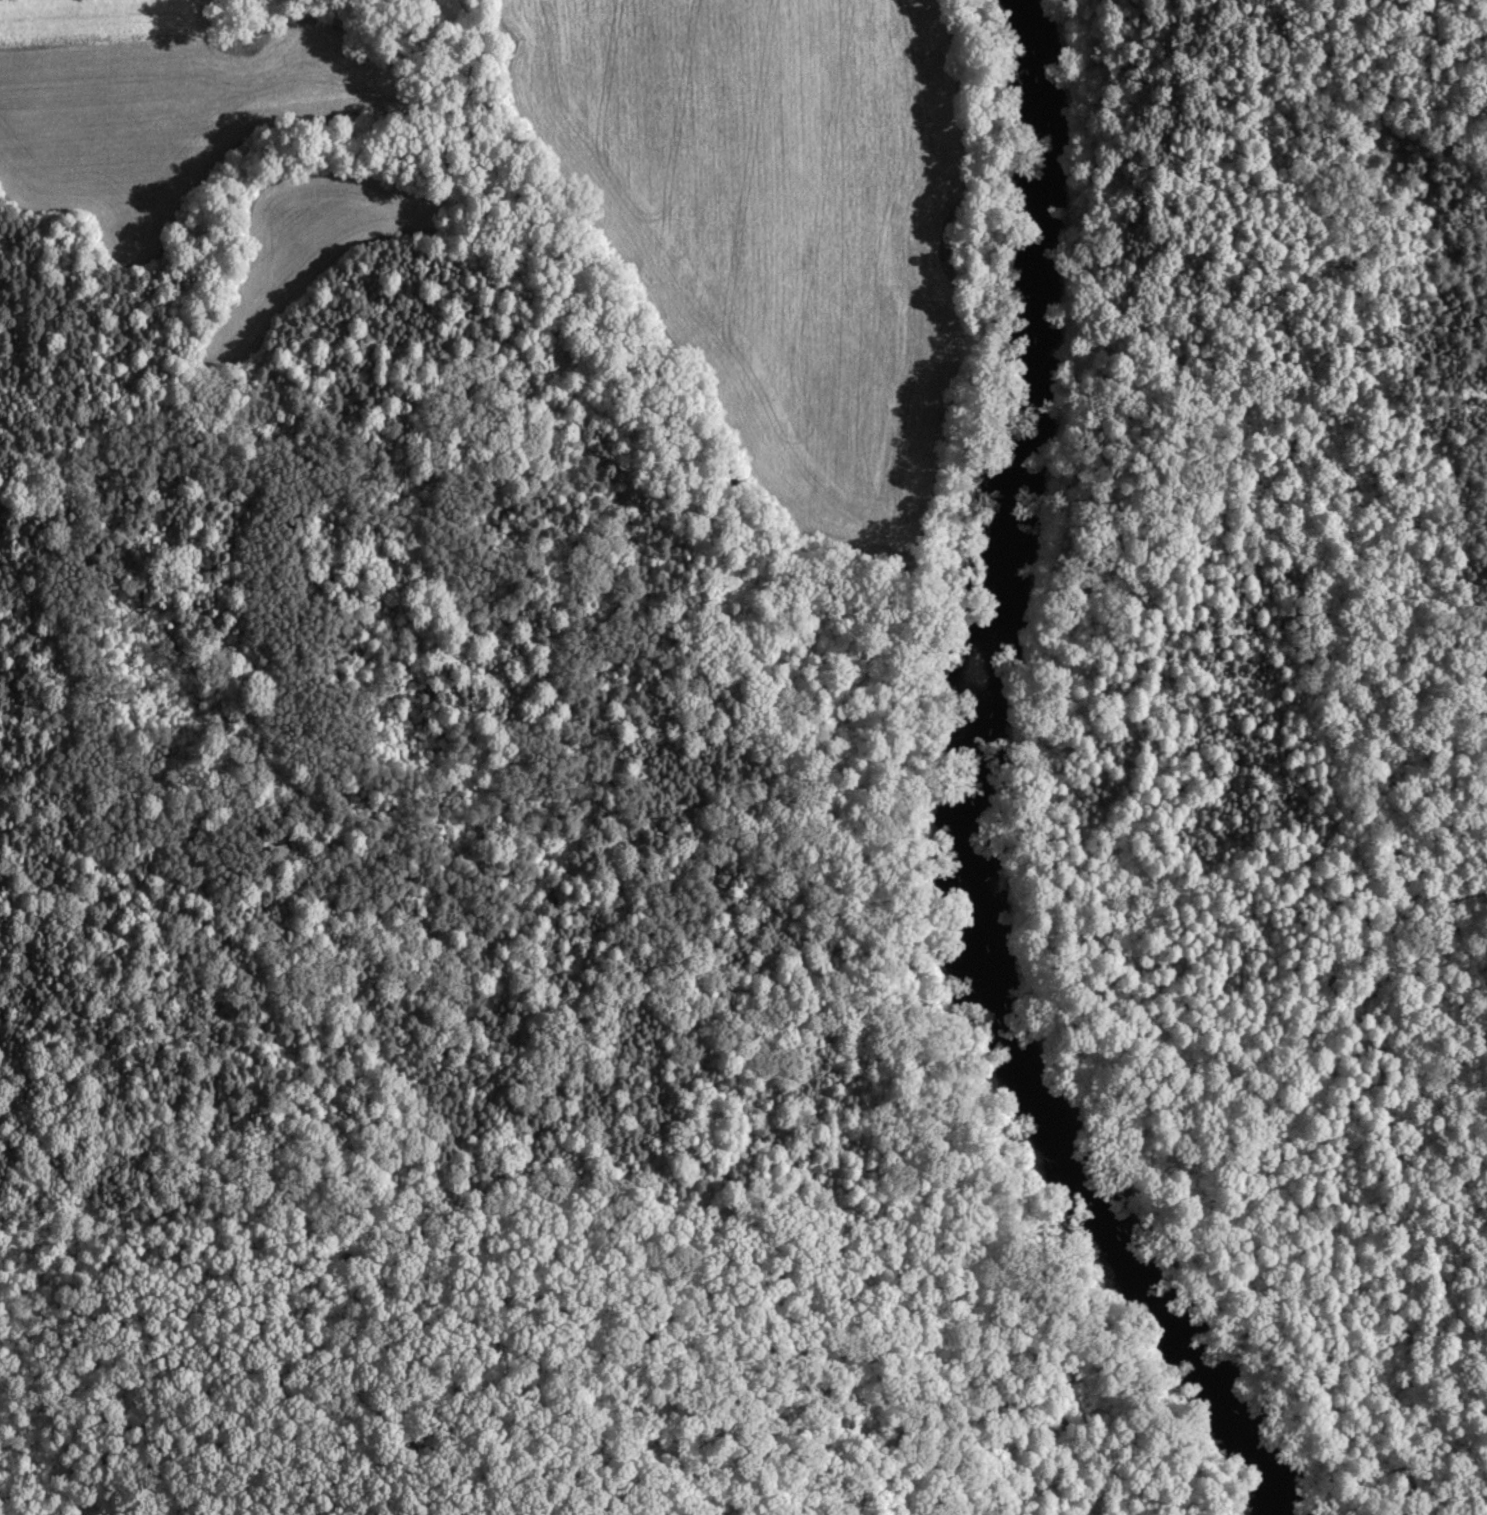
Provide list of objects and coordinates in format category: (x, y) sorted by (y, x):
river: (981, 797)

